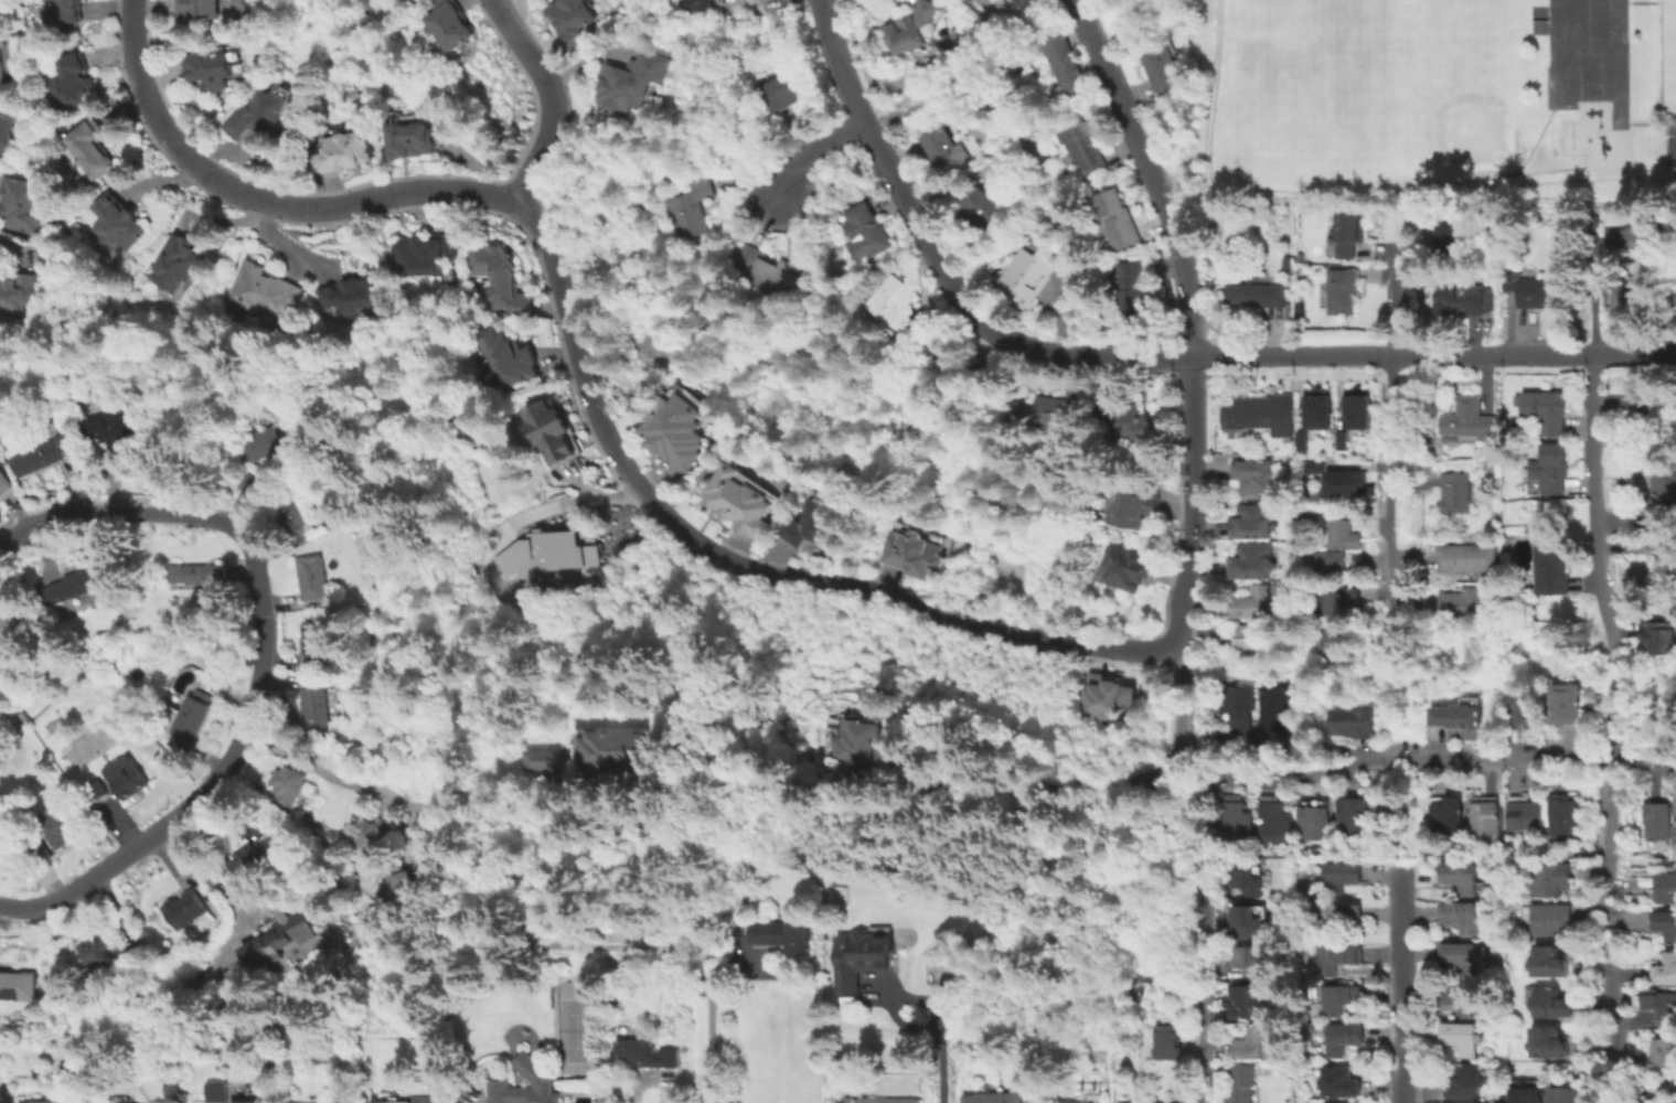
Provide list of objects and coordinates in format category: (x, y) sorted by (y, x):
building: (701, 3)
building: (198, 8)
building: (1024, 8)
building: (65, 11)
building: (570, 20)
building: (449, 23)
building: (912, 24)
park: (1354, 30)
building: (662, 50)
building: (1665, 56)
building: (2, 61)
building: (1159, 64)
building: (206, 69)
building: (1067, 71)
building: (75, 79)
building: (628, 82)
building: (782, 89)
park: (1427, 89)
road: (1205, 94)
road: (551, 99)
road: (1608, 103)
park: (1433, 104)
building: (260, 109)
road: (1646, 125)
building: (9, 131)
building: (410, 140)
road: (1665, 141)
road: (1536, 143)
building: (95, 147)
building: (342, 148)
building: (1087, 148)
building: (944, 149)
road: (814, 154)
road: (1153, 171)
road: (889, 174)
road: (1374, 193)
road: (260, 199)
building: (23, 202)
building: (984, 207)
building: (690, 208)
building: (121, 218)
road: (1407, 219)
building: (1117, 221)
building: (867, 231)
building: (1344, 236)
building: (1624, 239)
building: (1445, 249)
building: (425, 251)
building: (1288, 263)
building: (175, 264)
building: (764, 271)
building: (1029, 271)
building: (502, 277)
building: (266, 290)
building: (19, 291)
building: (1527, 291)
building: (352, 293)
building: (1134, 293)
building: (1338, 295)
building: (1255, 297)
road: (1591, 297)
building: (1625, 300)
building: (1459, 301)
building: (898, 312)
road: (1332, 353)
building: (509, 357)
building: (943, 379)
building: (1048, 411)
building: (1638, 411)
building: (1674, 413)
building: (1544, 414)
building: (1257, 416)
building: (269, 418)
building: (1345, 418)
building: (1124, 420)
building: (1311, 421)
building: (1466, 422)
building: (677, 426)
building: (552, 428)
building: (111, 438)
road: (1400, 442)
road: (1193, 443)
building: (267, 445)
building: (43, 456)
building: (1315, 464)
building: (1554, 468)
building: (1252, 474)
building: (1345, 481)
building: (6, 482)
building: (252, 484)
building: (1458, 491)
building: (1663, 495)
road: (567, 501)
building: (737, 502)
building: (1495, 503)
building: (1134, 505)
building: (290, 513)
building: (1253, 520)
building: (814, 523)
building: (1345, 533)
building: (546, 553)
building: (918, 554)
road: (1595, 556)
building: (1470, 557)
building: (1252, 560)
building: (1335, 560)
building: (1554, 564)
road: (739, 565)
building: (1666, 568)
building: (1124, 572)
building: (198, 575)
building: (311, 578)
building: (75, 585)
road: (1178, 588)
building: (1344, 598)
building: (1256, 603)
building: (1471, 603)
building: (1663, 606)
building: (7, 628)
building: (1336, 638)
building: (1248, 639)
building: (1657, 641)
building: (314, 642)
road: (258, 661)
building: (1103, 696)
building: (314, 704)
building: (1562, 704)
building: (1524, 706)
road: (1179, 707)
building: (1240, 707)
building: (1279, 709)
building: (190, 713)
building: (1458, 717)
building: (1354, 721)
building: (56, 725)
building: (860, 741)
building: (598, 756)
road: (1418, 757)
road: (312, 768)
building: (126, 778)
building: (289, 783)
road: (851, 789)
building: (97, 791)
building: (1565, 813)
building: (1448, 815)
building: (1524, 815)
building: (1485, 816)
building: (1353, 818)
building: (1657, 820)
building: (1237, 821)
building: (1315, 821)
building: (1274, 822)
building: (61, 828)
building: (1675, 828)
building: (322, 833)
building: (372, 836)
road: (1609, 843)
building: (39, 848)
building: (248, 857)
road: (212, 861)
building: (1460, 880)
building: (1343, 881)
building: (1246, 882)
building: (1550, 884)
building: (410, 887)
building: (1666, 887)
building: (184, 912)
building: (1342, 921)
building: (1461, 921)
building: (1247, 923)
building: (1549, 923)
building: (1665, 924)
building: (275, 935)
building: (787, 936)
road: (1602, 949)
building: (94, 950)
building: (131, 952)
building: (860, 960)
building: (1341, 960)
building: (1463, 961)
building: (1252, 963)
building: (1545, 963)
building: (1666, 970)
building: (941, 972)
building: (18, 984)
road: (1401, 985)
building: (1461, 998)
building: (1343, 1000)
building: (1249, 1003)
building: (1658, 1003)
building: (1548, 1004)
road: (1205, 1008)
park: (581, 1029)
road: (1615, 1036)
road: (937, 1037)
building: (1461, 1038)
building: (1345, 1039)
building: (1165, 1041)
road: (711, 1043)
building: (1550, 1043)
building: (1259, 1045)
building: (1665, 1050)
building: (647, 1052)
building: (535, 1070)
building: (1339, 1081)
road: (644, 1082)
building: (1464, 1082)
building: (1240, 1085)
building: (216, 1093)
building: (1526, 1094)
building: (1567, 1094)
building: (993, 1097)
building: (184, 1099)
building: (425, 1099)
building: (880, 1100)
building: (41, 1101)
building: (247, 1102)
building: (1074, 1102)
building: (1153, 1102)
building: (1458, 1102)

